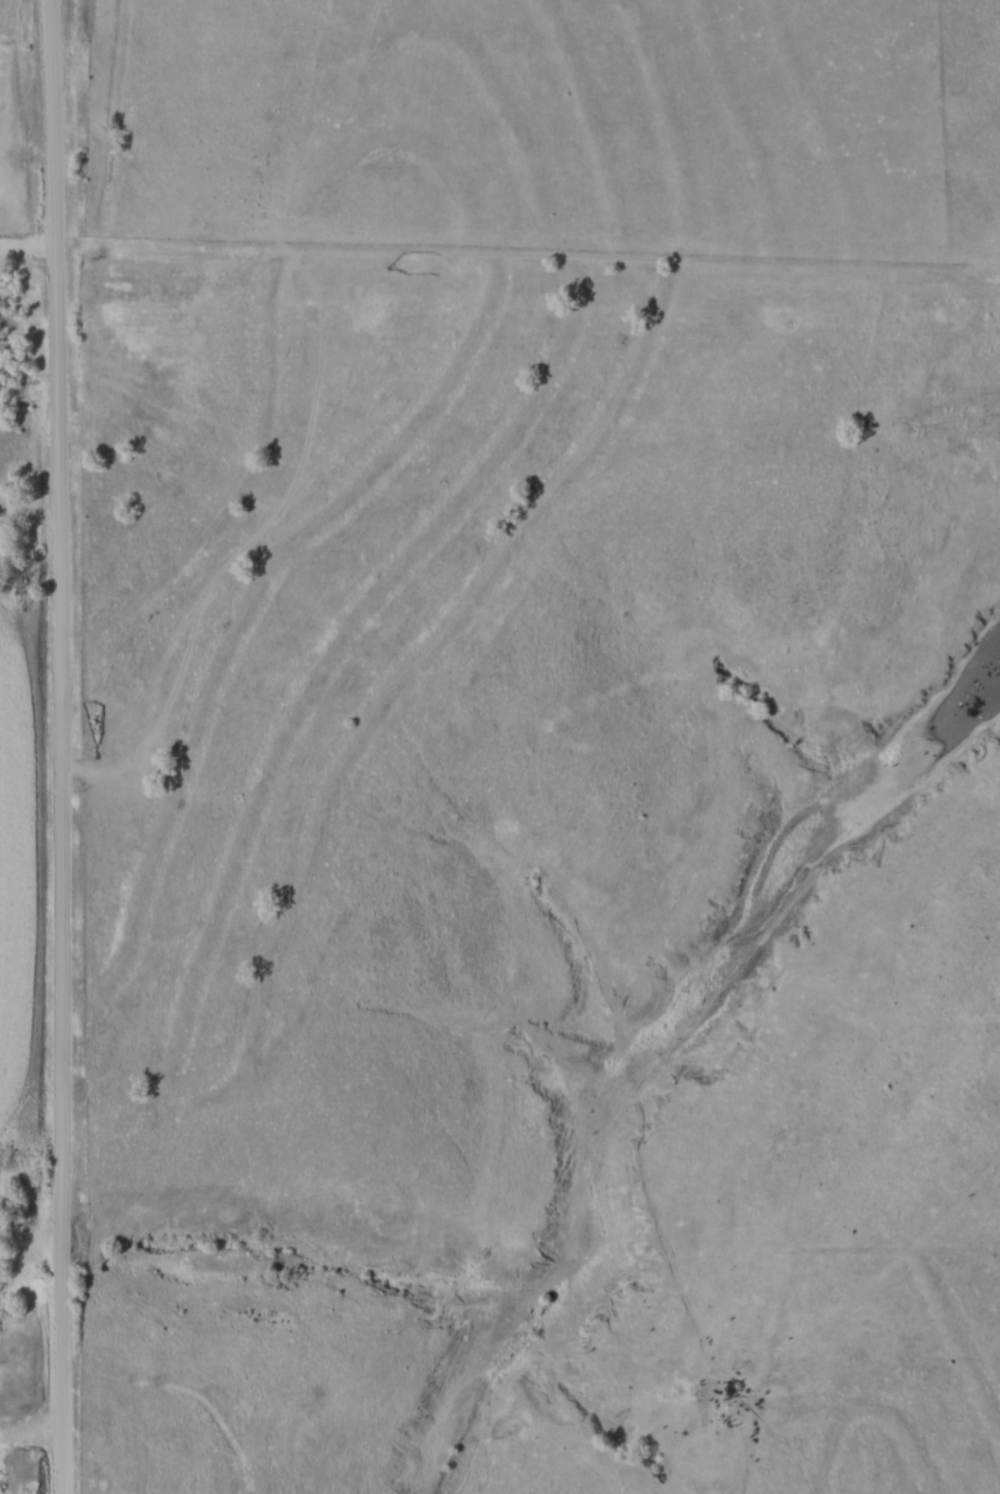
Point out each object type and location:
road: (28, 249)
road: (62, 746)

